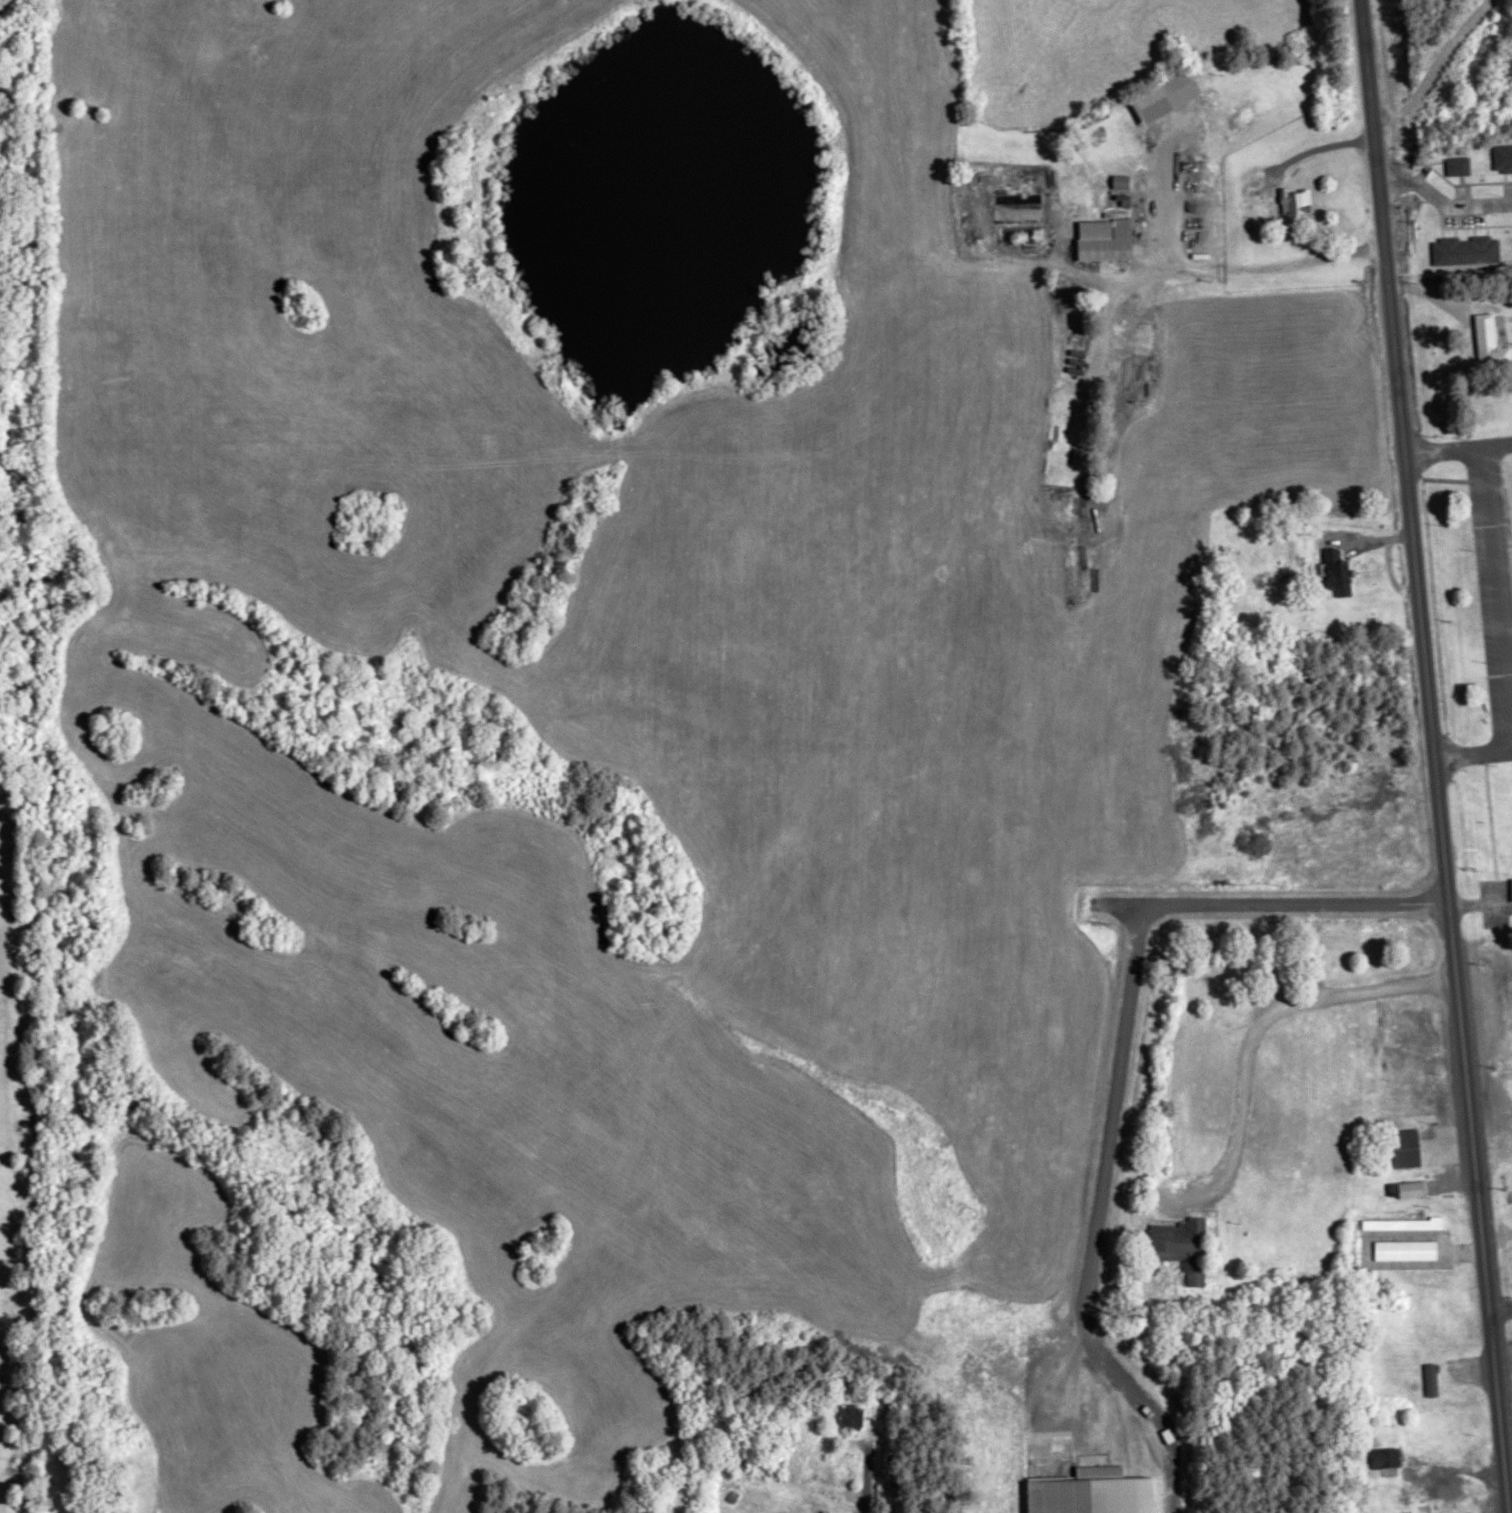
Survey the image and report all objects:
building: (1163, 97)
road: (1315, 149)
building: (1502, 158)
building: (1457, 166)
building: (1295, 202)
road: (1442, 203)
building: (1017, 212)
building: (1104, 240)
building: (1465, 251)
road: (1134, 282)
building: (1486, 337)
road: (1457, 447)
building: (1338, 577)
road: (1499, 596)
road: (1472, 752)
road: (1432, 756)
building: (1511, 889)
road: (103, 987)
road: (1262, 1020)
road: (1118, 1075)
building: (1405, 1148)
building: (1410, 1189)
building: (1182, 1248)
road: (1500, 1310)
building: (1431, 1380)
building: (850, 1417)
building: (1384, 1458)
building: (1092, 1493)
building: (824, 1512)

